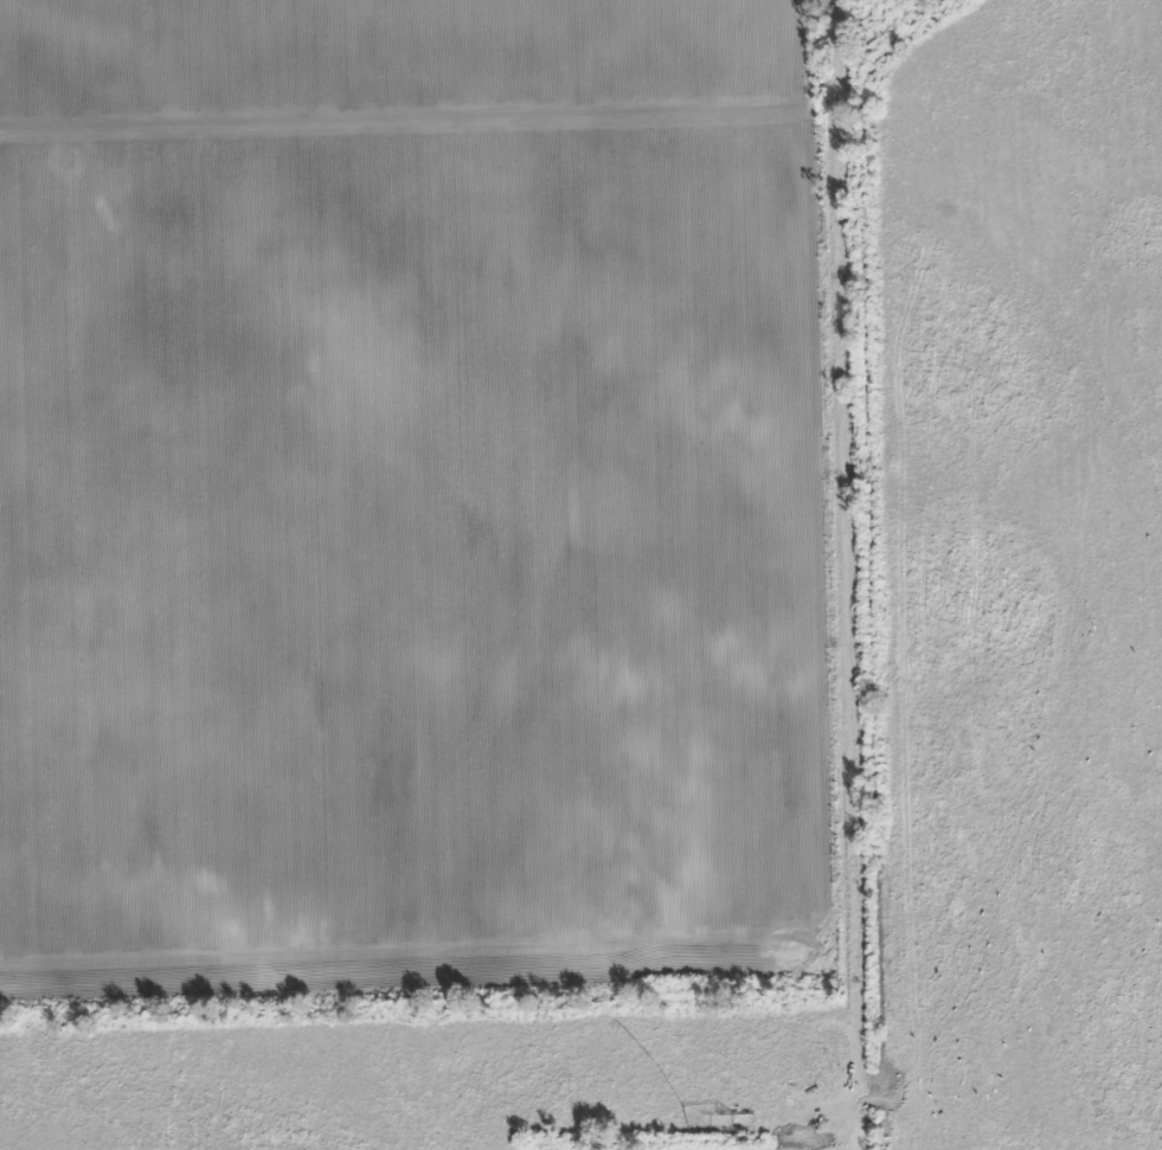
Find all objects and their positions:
road: (833, 574)

